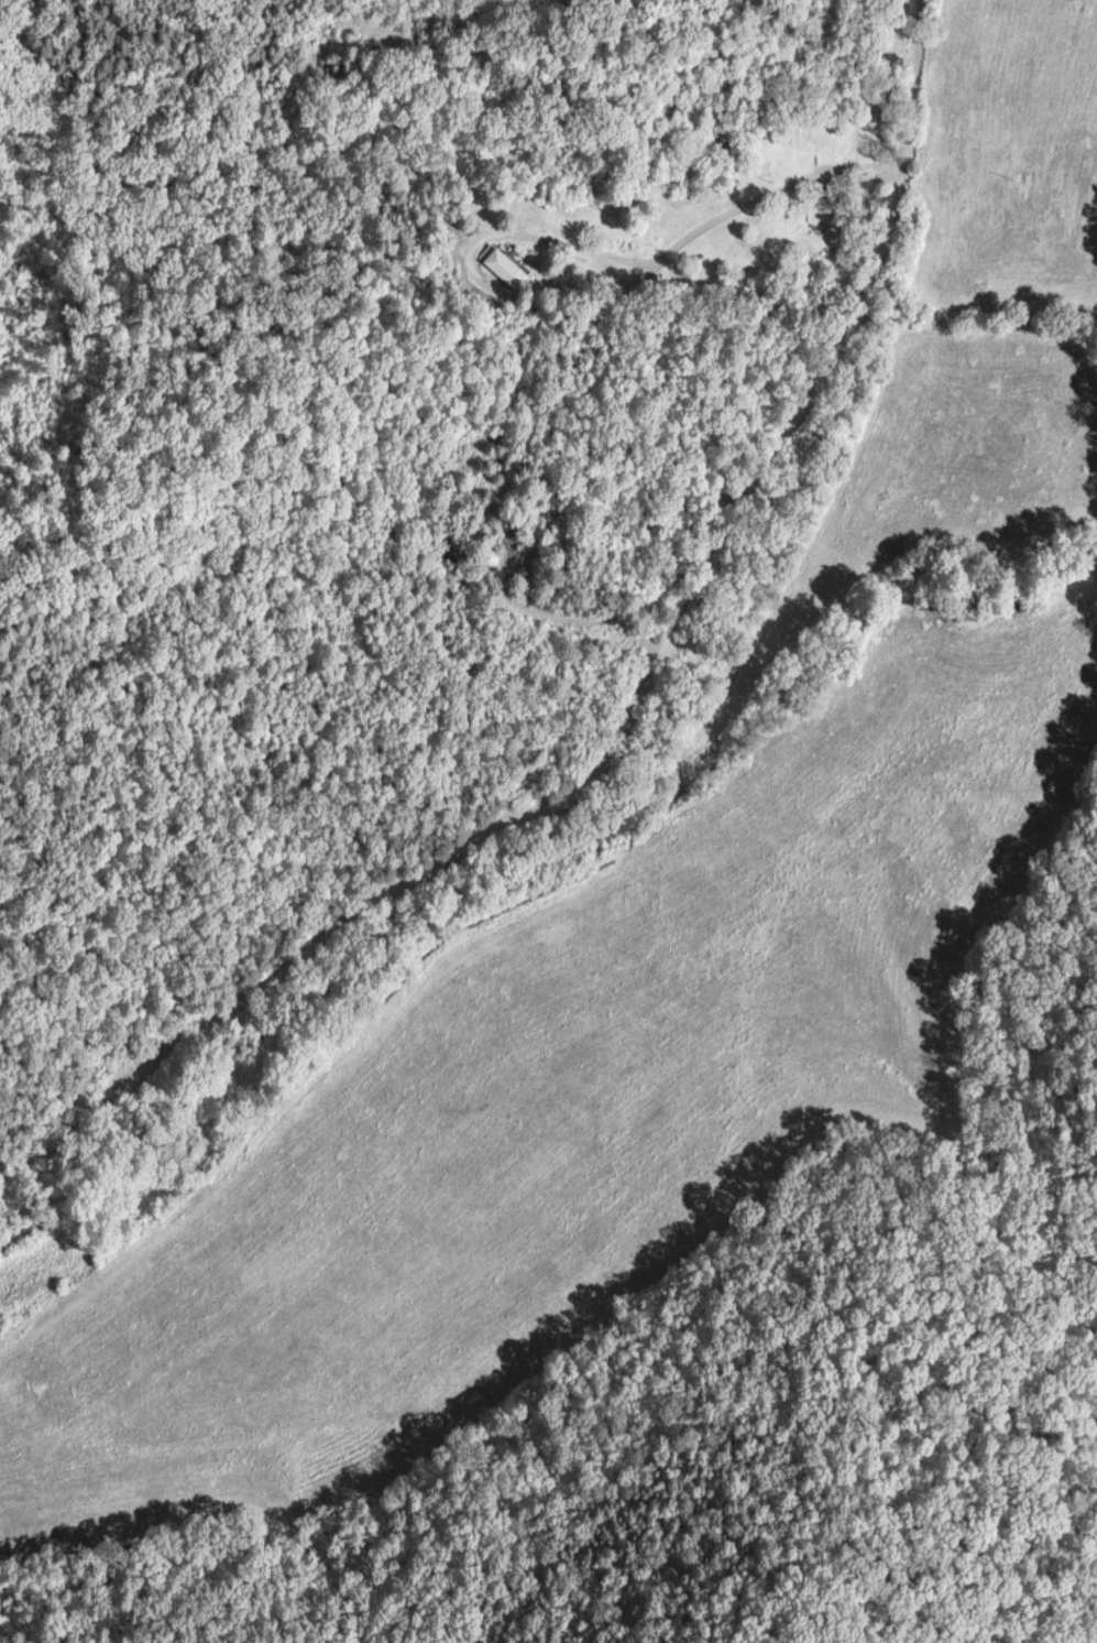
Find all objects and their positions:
building: (830, 210)
building: (505, 266)
road: (633, 718)

